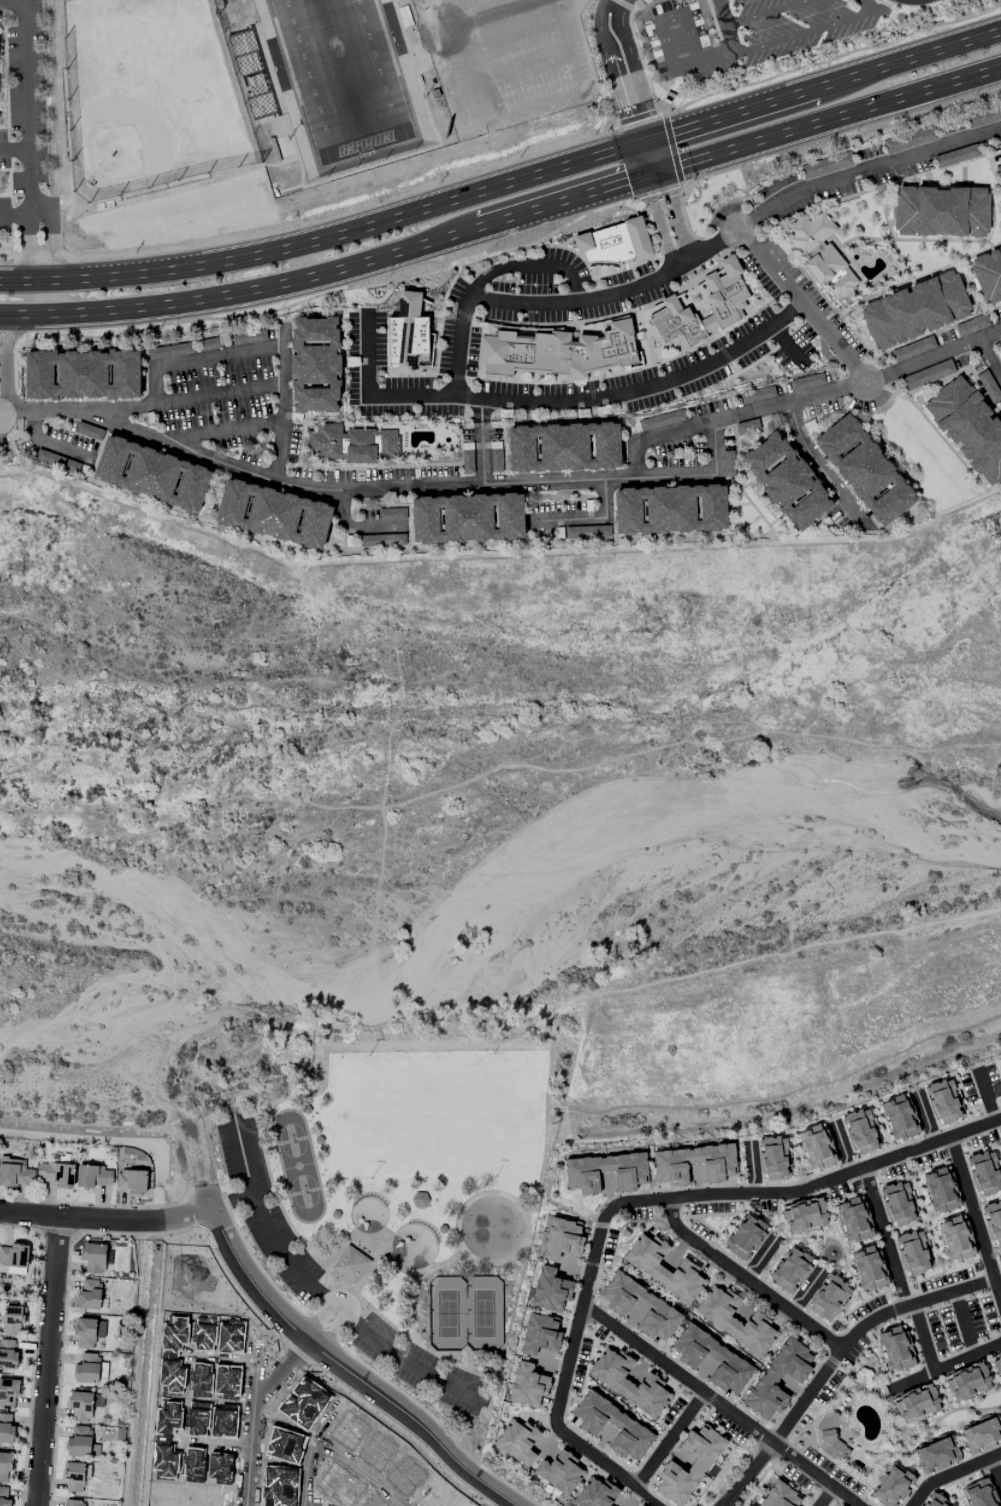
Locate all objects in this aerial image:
road: (617, 3)
road: (397, 6)
road: (761, 12)
road: (490, 13)
road: (657, 21)
park: (395, 28)
road: (804, 31)
road: (433, 32)
road: (226, 37)
road: (727, 41)
building: (417, 57)
stadium: (417, 57)
road: (839, 57)
park: (279, 64)
road: (634, 70)
road: (611, 72)
building: (257, 73)
stadium: (257, 73)
park: (346, 81)
road: (827, 85)
building: (437, 93)
road: (25, 96)
building: (668, 99)
road: (615, 114)
road: (678, 115)
road: (637, 117)
road: (830, 118)
traffic signals: (654, 139)
road: (847, 139)
road: (644, 142)
traffic signals: (634, 145)
road: (14, 147)
road: (674, 152)
road: (657, 155)
road: (393, 159)
road: (639, 160)
road: (990, 164)
road: (879, 167)
road: (903, 170)
traffic signals: (661, 171)
road: (652, 173)
traffic signals: (644, 176)
road: (964, 176)
road: (921, 182)
road: (689, 183)
road: (290, 189)
road: (876, 190)
road: (661, 199)
road: (623, 201)
road: (719, 207)
road: (18, 209)
road: (37, 210)
road: (831, 211)
road: (741, 214)
building: (941, 214)
road: (674, 216)
road: (807, 216)
road: (755, 218)
road: (750, 221)
road: (659, 222)
road: (304, 224)
road: (757, 227)
road: (555, 233)
road: (692, 235)
road: (891, 235)
road: (322, 239)
road: (824, 240)
road: (918, 242)
road: (715, 244)
building: (613, 245)
road: (787, 247)
road: (27, 250)
road: (459, 250)
road: (842, 255)
building: (821, 256)
road: (54, 258)
road: (486, 259)
road: (650, 262)
road: (898, 262)
road: (526, 267)
parking lot: (771, 269)
road: (327, 271)
road: (890, 272)
building: (988, 277)
road: (928, 278)
road: (919, 279)
road: (451, 286)
road: (971, 290)
parking lot: (562, 293)
road: (422, 295)
road: (820, 295)
road: (885, 296)
road: (850, 298)
road: (863, 298)
building: (726, 305)
road: (441, 306)
road: (450, 311)
building: (914, 313)
road: (463, 315)
road: (241, 319)
road: (283, 325)
road: (946, 329)
road: (250, 330)
road: (29, 332)
road: (938, 334)
building: (404, 337)
parking lot: (366, 340)
road: (8, 341)
road: (834, 344)
road: (789, 347)
road: (902, 347)
road: (6, 351)
parking lot: (458, 352)
road: (724, 352)
parking lot: (747, 352)
road: (947, 353)
building: (558, 355)
building: (425, 356)
road: (864, 358)
road: (990, 361)
road: (171, 365)
building: (313, 366)
road: (869, 366)
road: (853, 367)
road: (735, 369)
road: (744, 371)
road: (145, 372)
building: (80, 374)
road: (841, 375)
road: (888, 375)
road: (887, 376)
road: (950, 376)
road: (140, 377)
road: (483, 378)
road: (15, 381)
parking lot: (216, 390)
road: (841, 390)
road: (981, 395)
road: (220, 396)
road: (723, 397)
road: (369, 398)
parking lot: (472, 398)
road: (467, 399)
road: (497, 401)
road: (146, 402)
road: (909, 402)
road: (283, 405)
road: (482, 411)
road: (721, 411)
road: (11, 412)
road: (743, 415)
road: (869, 415)
road: (468, 416)
road: (825, 416)
road: (480, 417)
road: (495, 417)
road: (16, 418)
road: (464, 418)
road: (733, 418)
road: (578, 422)
road: (795, 424)
road: (303, 426)
road: (481, 427)
road: (358, 428)
road: (461, 429)
building: (967, 429)
road: (763, 430)
road: (228, 431)
road: (936, 431)
road: (940, 438)
road: (13, 441)
road: (50, 445)
building: (351, 446)
road: (436, 447)
building: (561, 450)
road: (482, 453)
road: (502, 454)
road: (900, 454)
park: (929, 459)
road: (340, 465)
road: (417, 465)
road: (414, 467)
road: (819, 467)
road: (51, 469)
road: (224, 471)
building: (149, 472)
road: (626, 472)
building: (863, 472)
road: (330, 481)
road: (406, 482)
building: (785, 484)
road: (118, 487)
road: (386, 489)
road: (741, 491)
road: (209, 494)
road: (212, 498)
road: (737, 506)
road: (916, 507)
road: (407, 509)
building: (668, 512)
building: (270, 515)
building: (465, 520)
road: (586, 520)
road: (340, 522)
road: (530, 525)
road: (221, 526)
road: (357, 528)
road: (406, 528)
road: (408, 529)
road: (529, 536)
road: (408, 542)
road: (546, 542)
road: (498, 556)
road: (970, 564)
building: (944, 1102)
building: (900, 1118)
building: (861, 1131)
road: (932, 1144)
building: (817, 1148)
building: (774, 1158)
building: (671, 1169)
building: (15, 1173)
road: (961, 1173)
building: (56, 1174)
building: (985, 1174)
building: (95, 1176)
building: (631, 1178)
building: (132, 1181)
park: (411, 1188)
building: (941, 1190)
building: (899, 1204)
building: (805, 1215)
building: (854, 1220)
road: (108, 1221)
building: (993, 1222)
building: (746, 1237)
road: (884, 1238)
building: (563, 1239)
building: (956, 1239)
road: (148, 1248)
road: (594, 1253)
building: (913, 1253)
building: (14, 1255)
road: (986, 1255)
building: (94, 1257)
building: (999, 1261)
building: (351, 1264)
building: (869, 1269)
building: (791, 1270)
building: (653, 1271)
road: (745, 1280)
building: (551, 1290)
building: (89, 1294)
building: (830, 1297)
road: (331, 1300)
building: (652, 1304)
building: (14, 1319)
road: (319, 1319)
building: (735, 1320)
road: (963, 1324)
road: (331, 1329)
building: (89, 1332)
building: (540, 1335)
road: (924, 1338)
building: (896, 1349)
building: (8, 1355)
building: (724, 1356)
road: (835, 1357)
road: (47, 1363)
building: (997, 1364)
road: (840, 1367)
road: (944, 1367)
building: (87, 1369)
road: (350, 1369)
building: (778, 1379)
building: (968, 1382)
building: (629, 1383)
building: (527, 1386)
building: (8, 1393)
building: (917, 1404)
building: (81, 1406)
road: (719, 1406)
road: (969, 1410)
road: (253, 1412)
park: (953, 1418)
building: (624, 1424)
road: (958, 1424)
building: (6, 1429)
building: (831, 1437)
road: (901, 1439)
building: (80, 1441)
road: (668, 1441)
building: (518, 1442)
road: (902, 1452)
building: (936, 1454)
building: (5, 1465)
building: (689, 1465)
road: (996, 1470)
building: (560, 1472)
road: (953, 1474)
building: (74, 1476)
road: (762, 1477)
building: (893, 1486)
building: (596, 1494)
building: (980, 1494)
building: (780, 1496)
building: (4, 1497)
road: (826, 1497)
building: (936, 1501)
building: (73, 1503)
road: (723, 1504)
road: (726, 1504)

